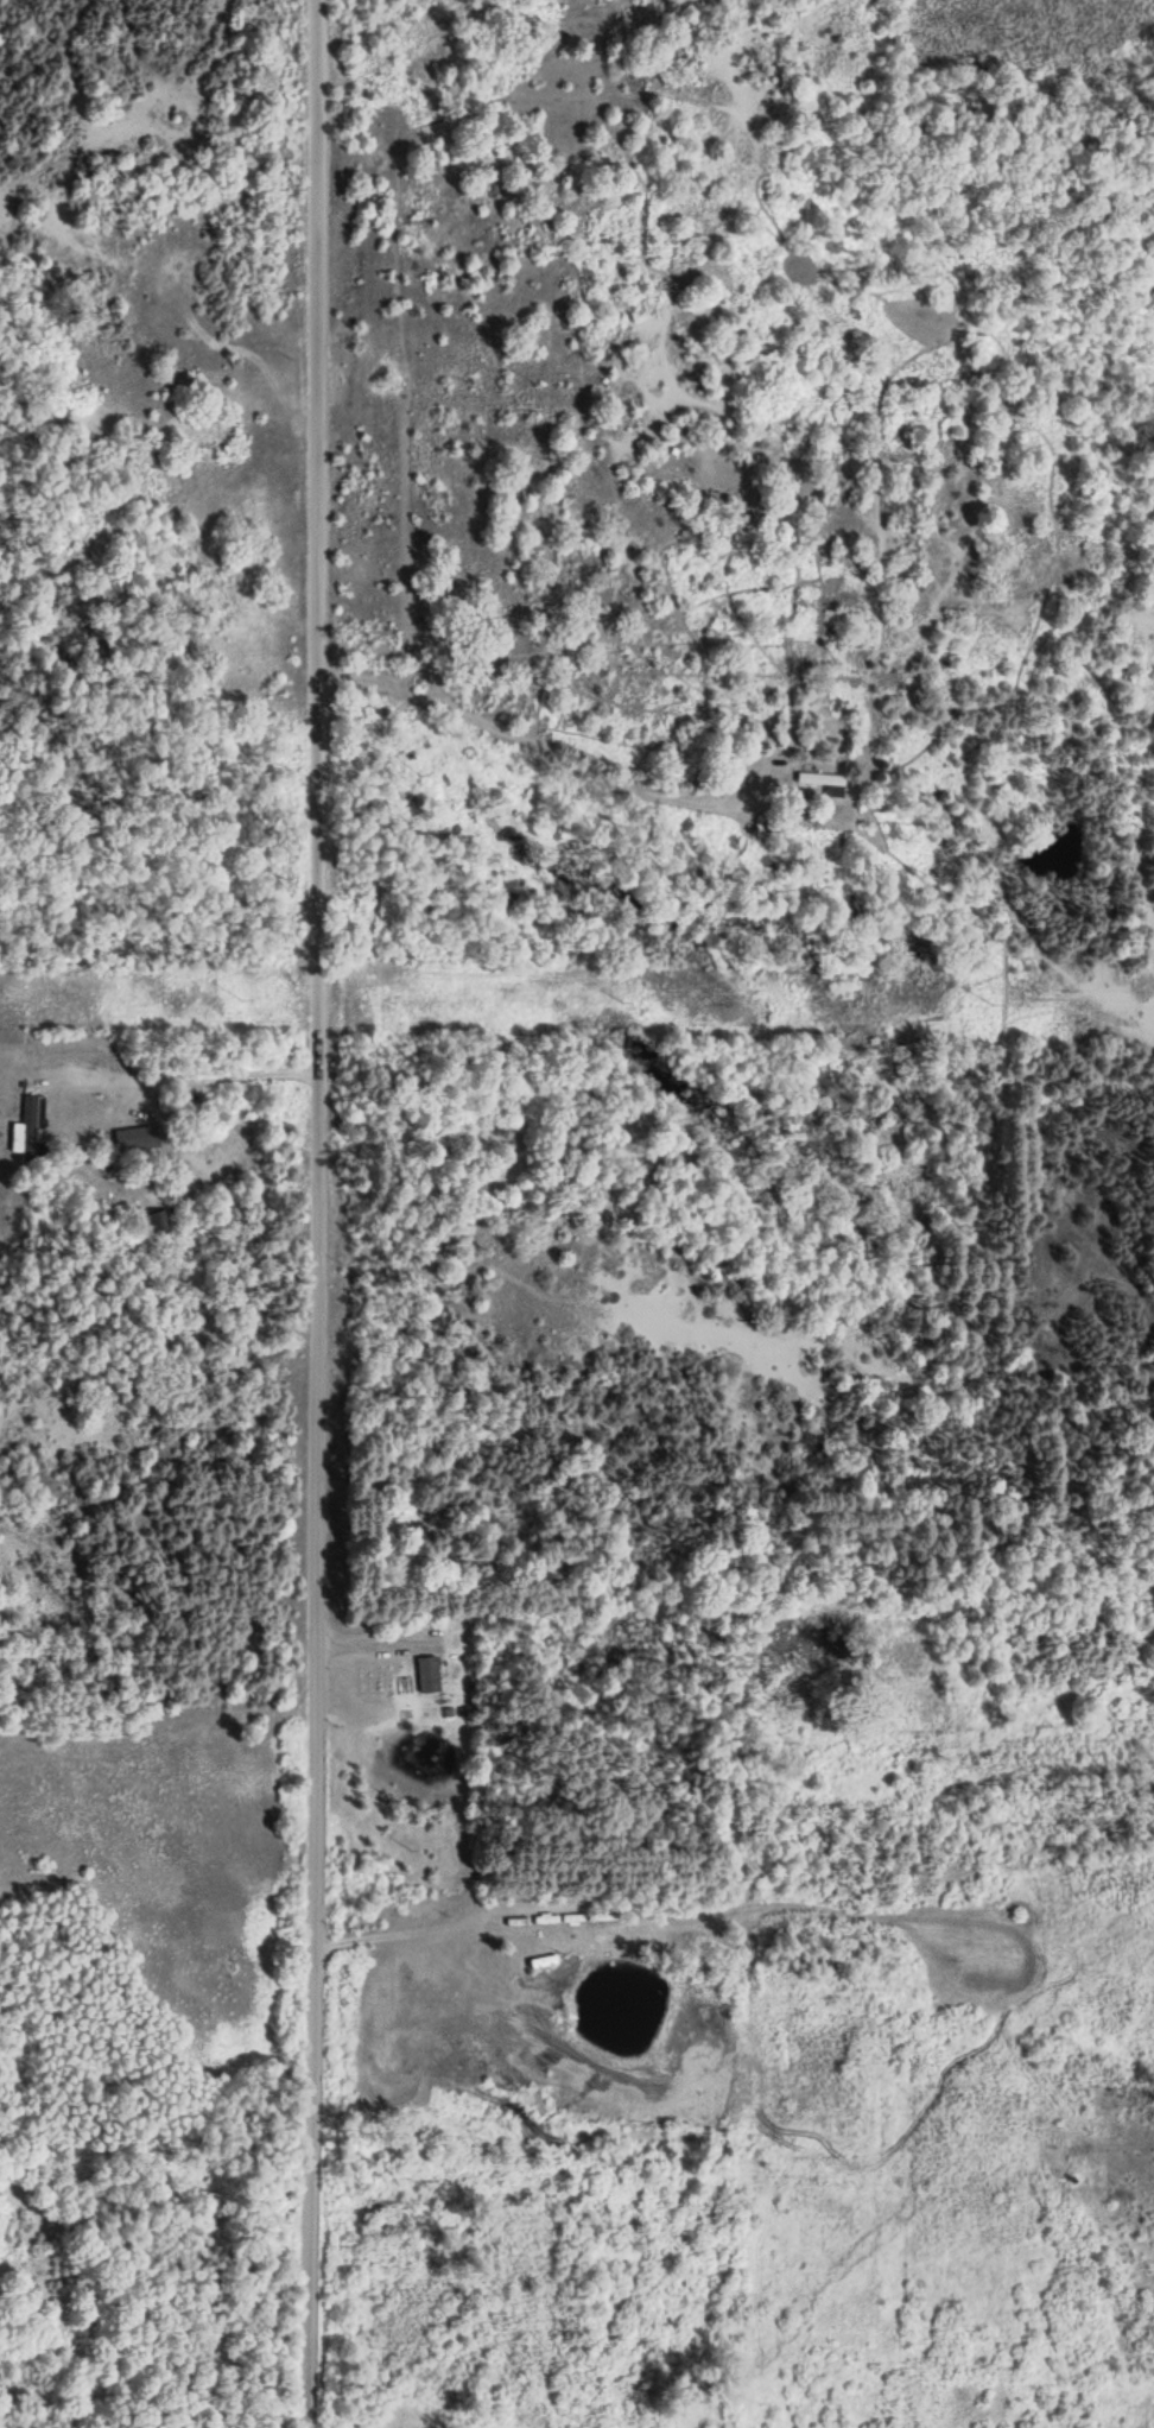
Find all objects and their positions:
building: (822, 782)
building: (27, 1127)
building: (134, 1138)
road: (321, 1213)
building: (425, 1675)

